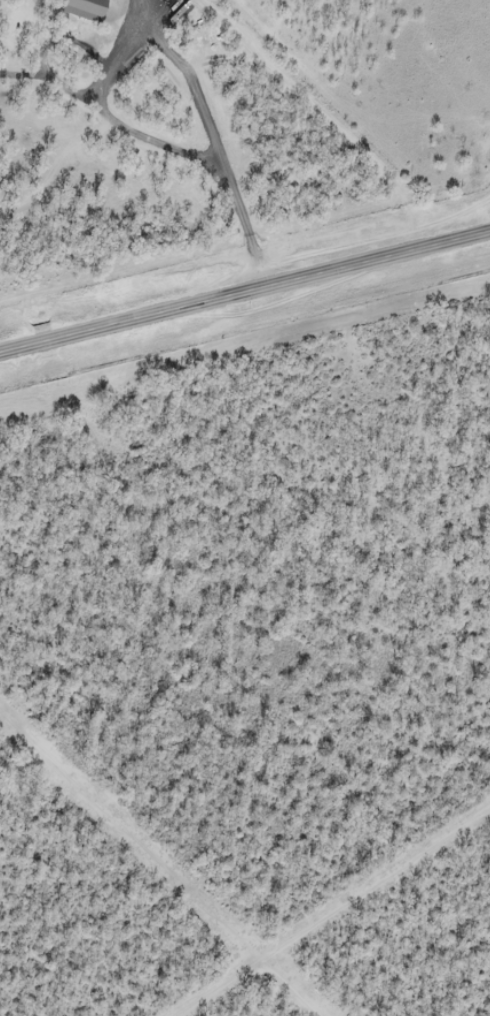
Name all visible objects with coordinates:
road: (358, 113)
road: (244, 291)

